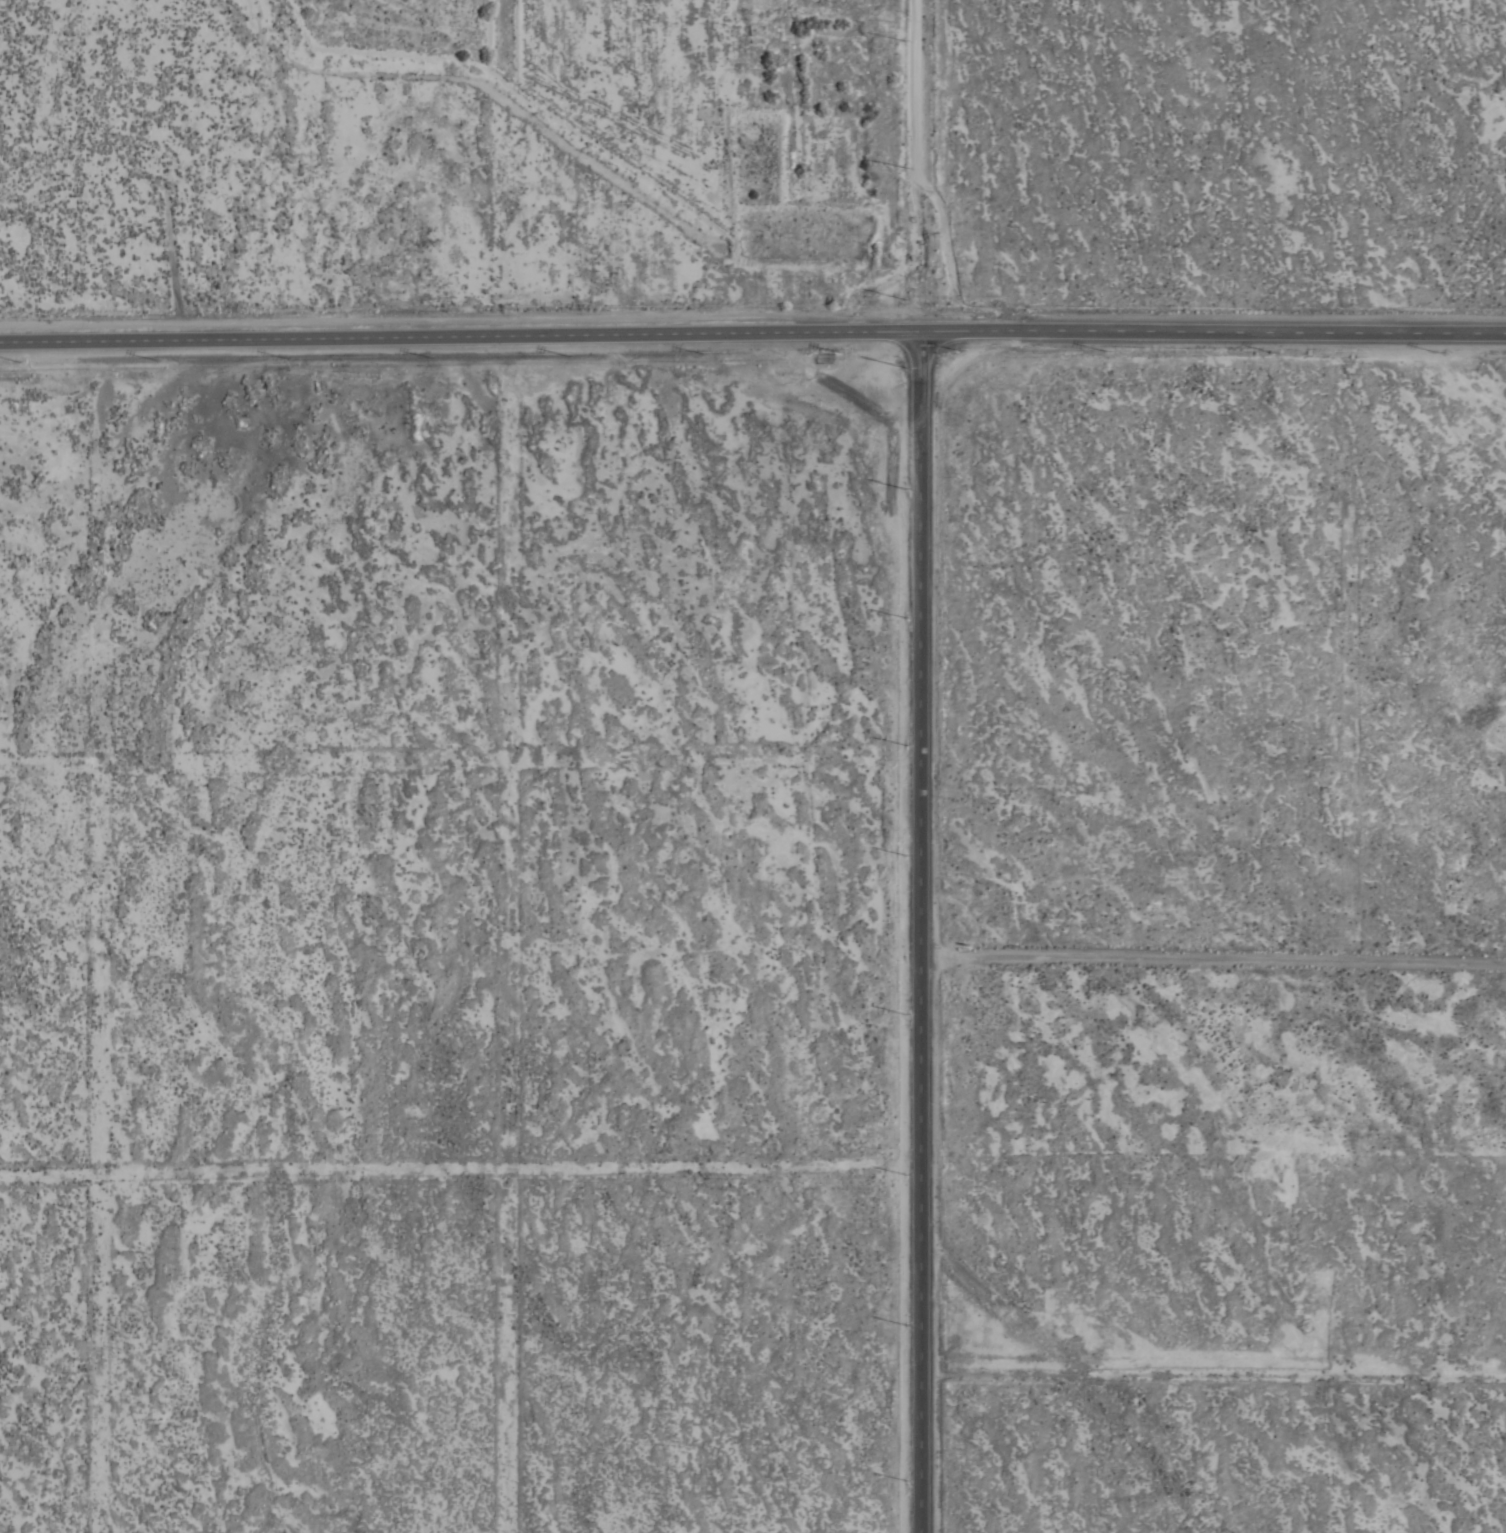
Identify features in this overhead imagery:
road: (924, 169)
road: (1216, 338)
road: (463, 342)
road: (918, 935)
road: (1212, 961)

